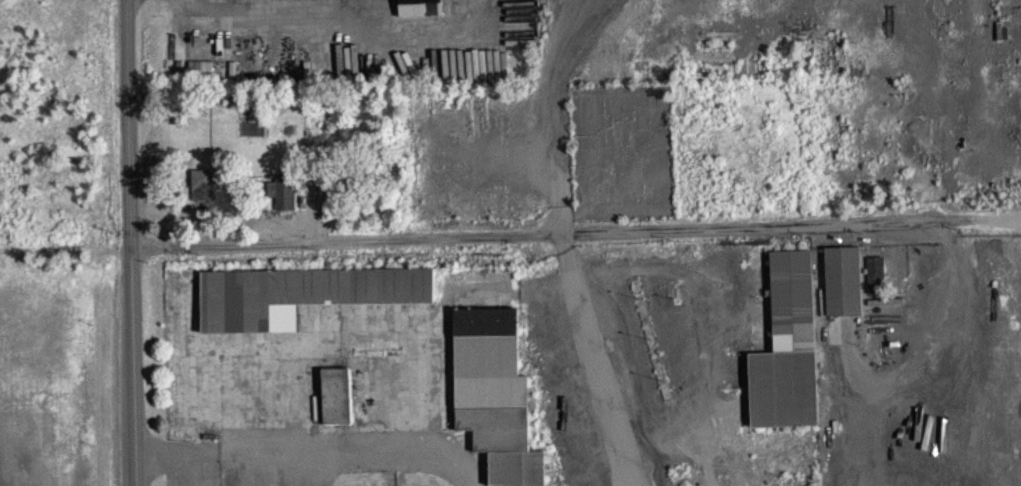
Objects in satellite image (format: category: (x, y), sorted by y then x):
building: (285, 1)
building: (419, 7)
road: (272, 18)
building: (202, 183)
building: (284, 192)
road: (551, 231)
road: (129, 242)
building: (875, 273)
building: (842, 279)
building: (300, 293)
building: (787, 347)
road: (595, 358)
building: (494, 393)
building: (336, 394)
road: (349, 459)
road: (177, 462)
road: (188, 474)

